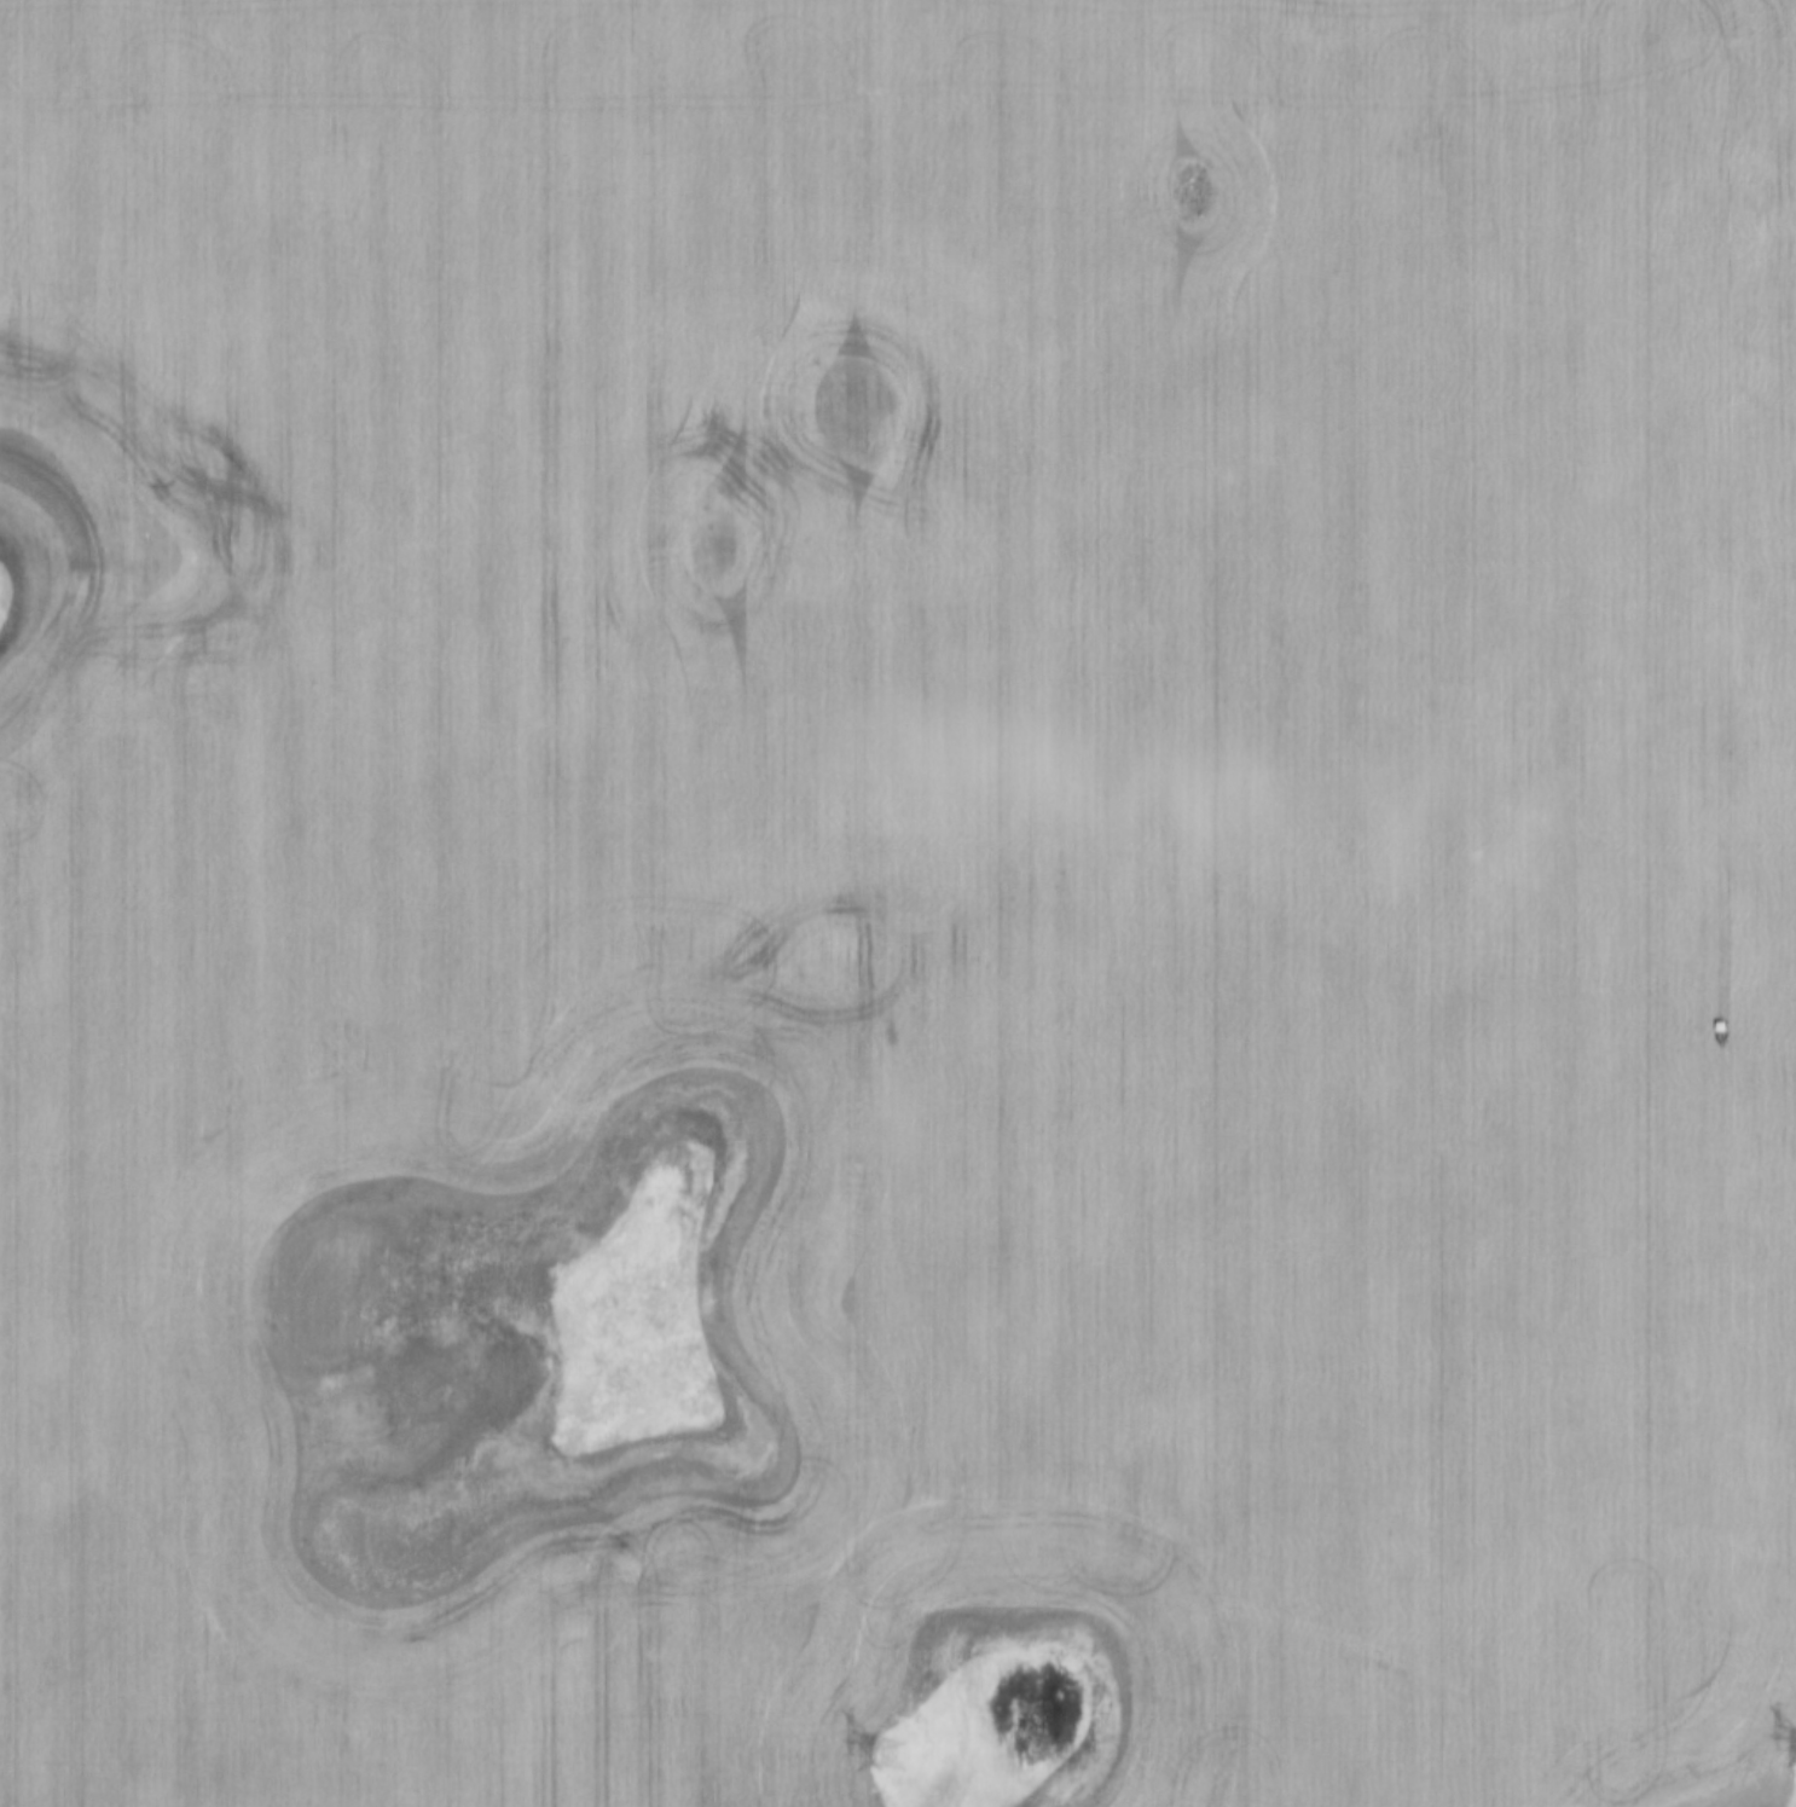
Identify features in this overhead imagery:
power tower: (891, 1754)

